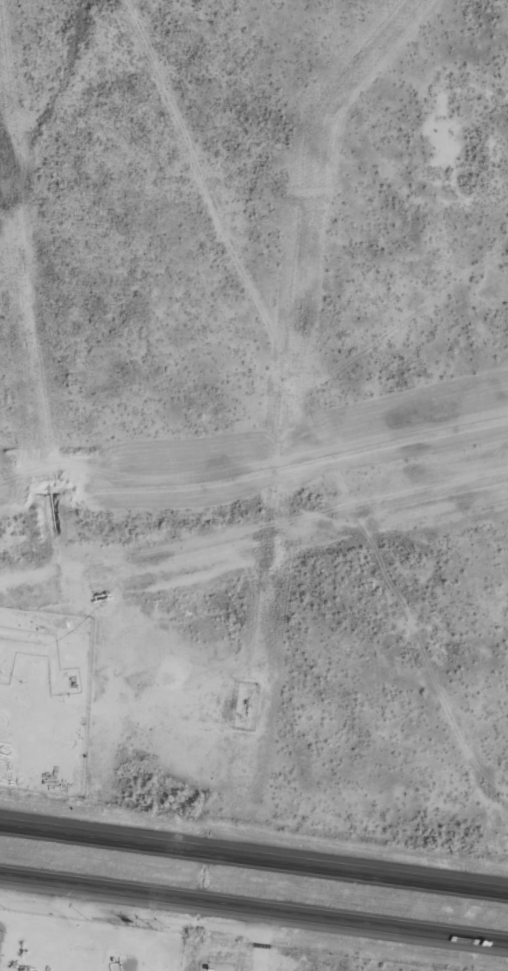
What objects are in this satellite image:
road: (254, 860)
road: (254, 908)

